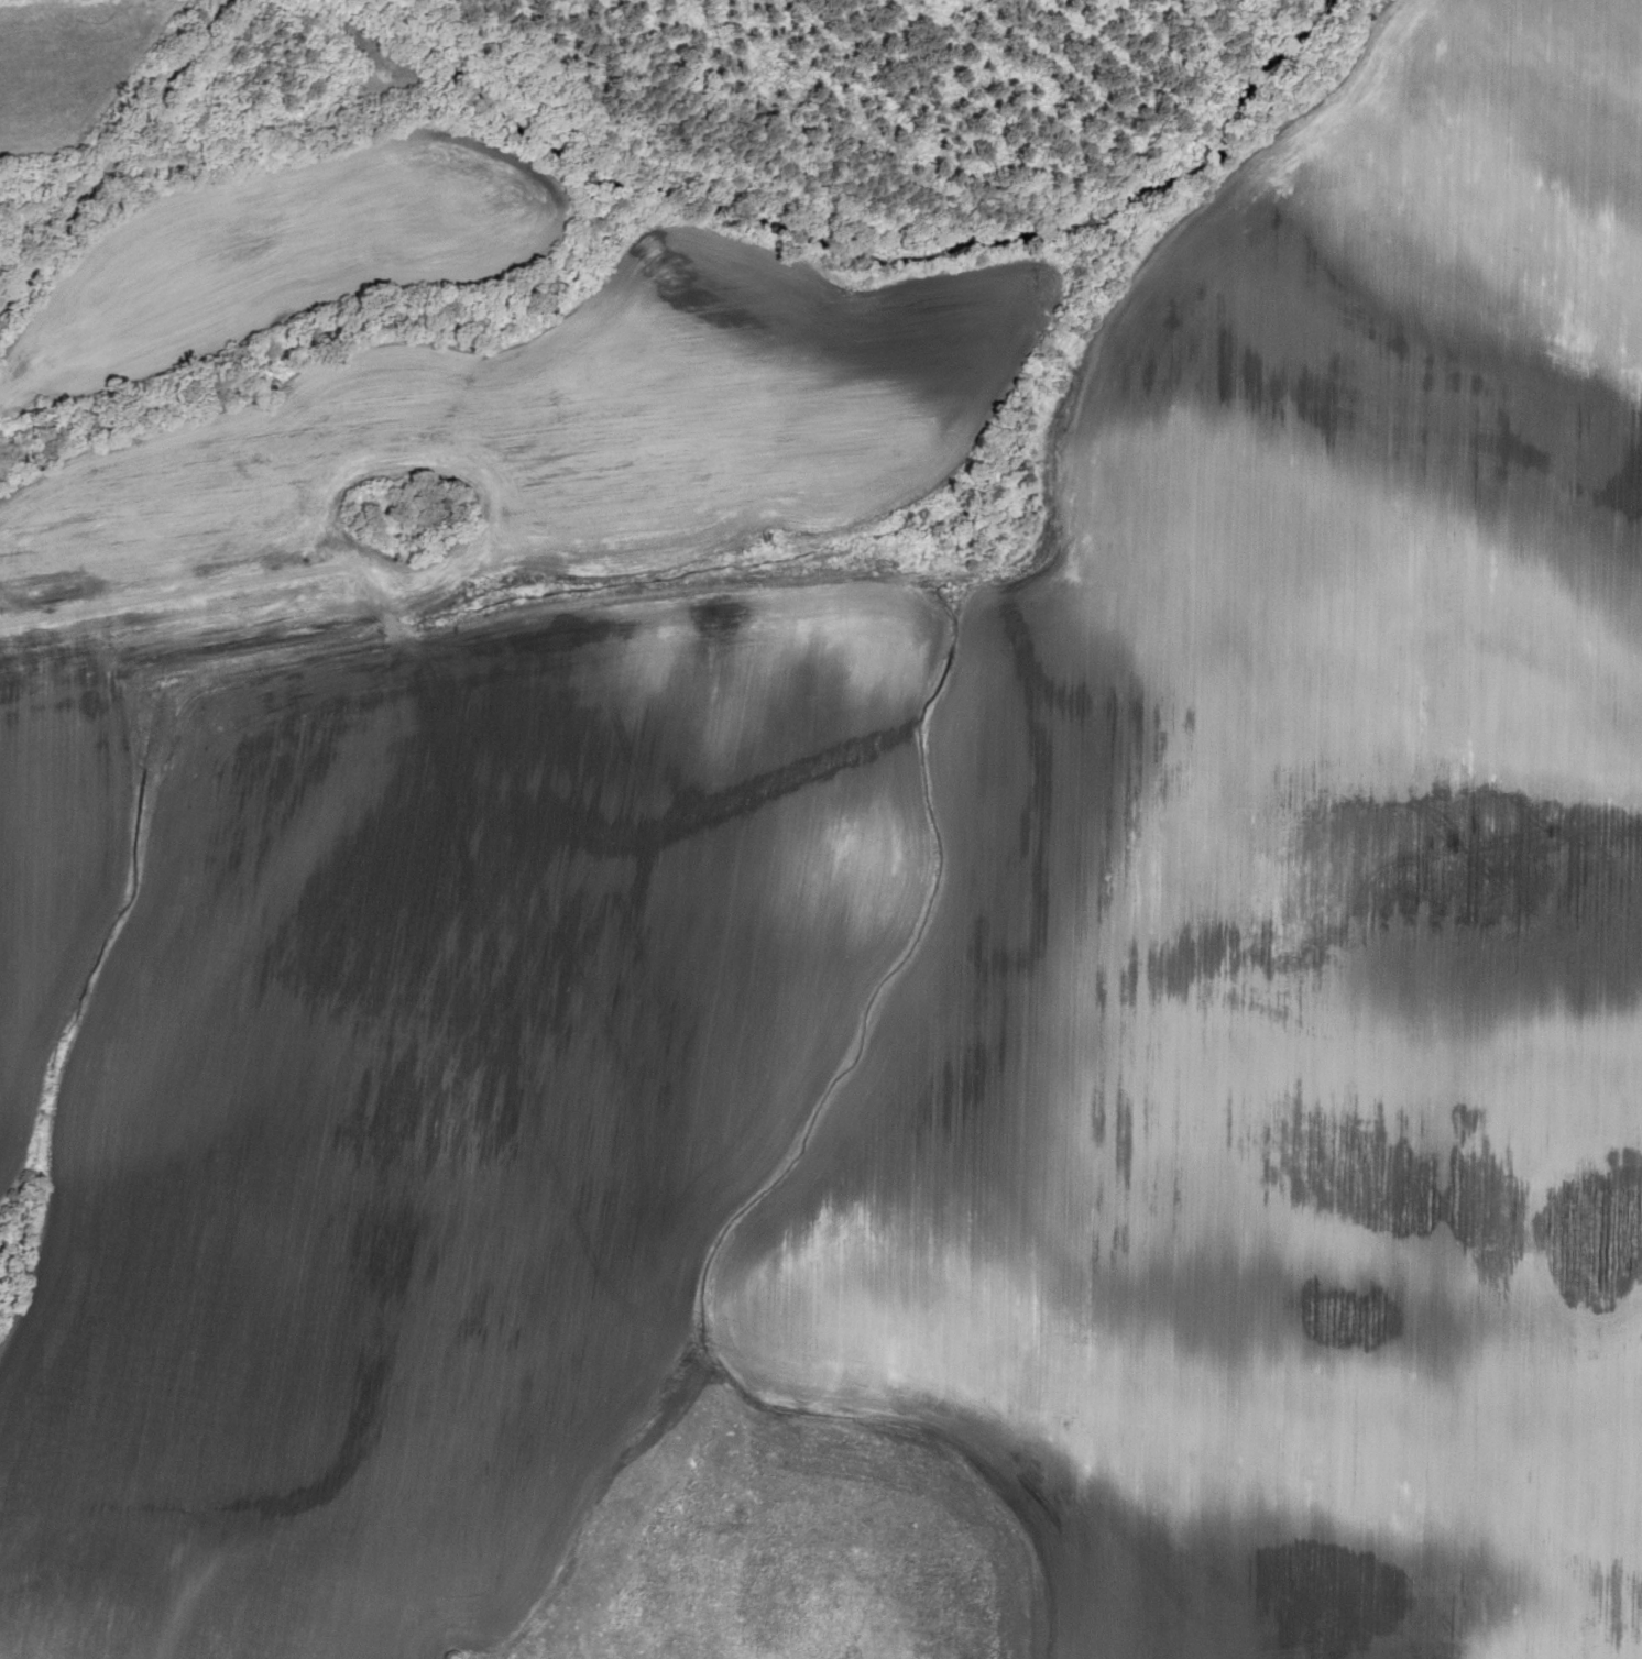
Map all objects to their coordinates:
road: (123, 145)

